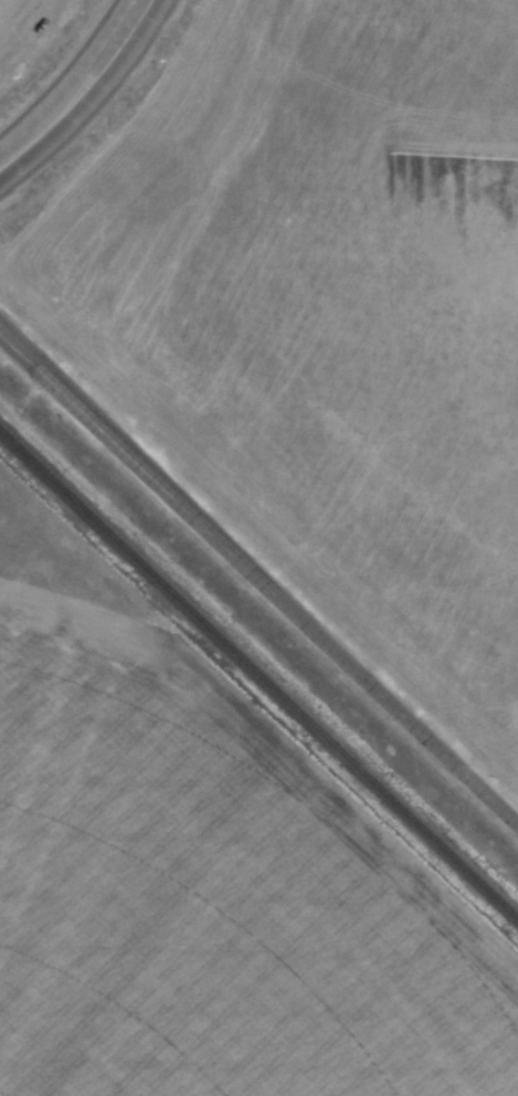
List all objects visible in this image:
road: (65, 75)
road: (88, 97)
road: (260, 578)
railway: (258, 673)

